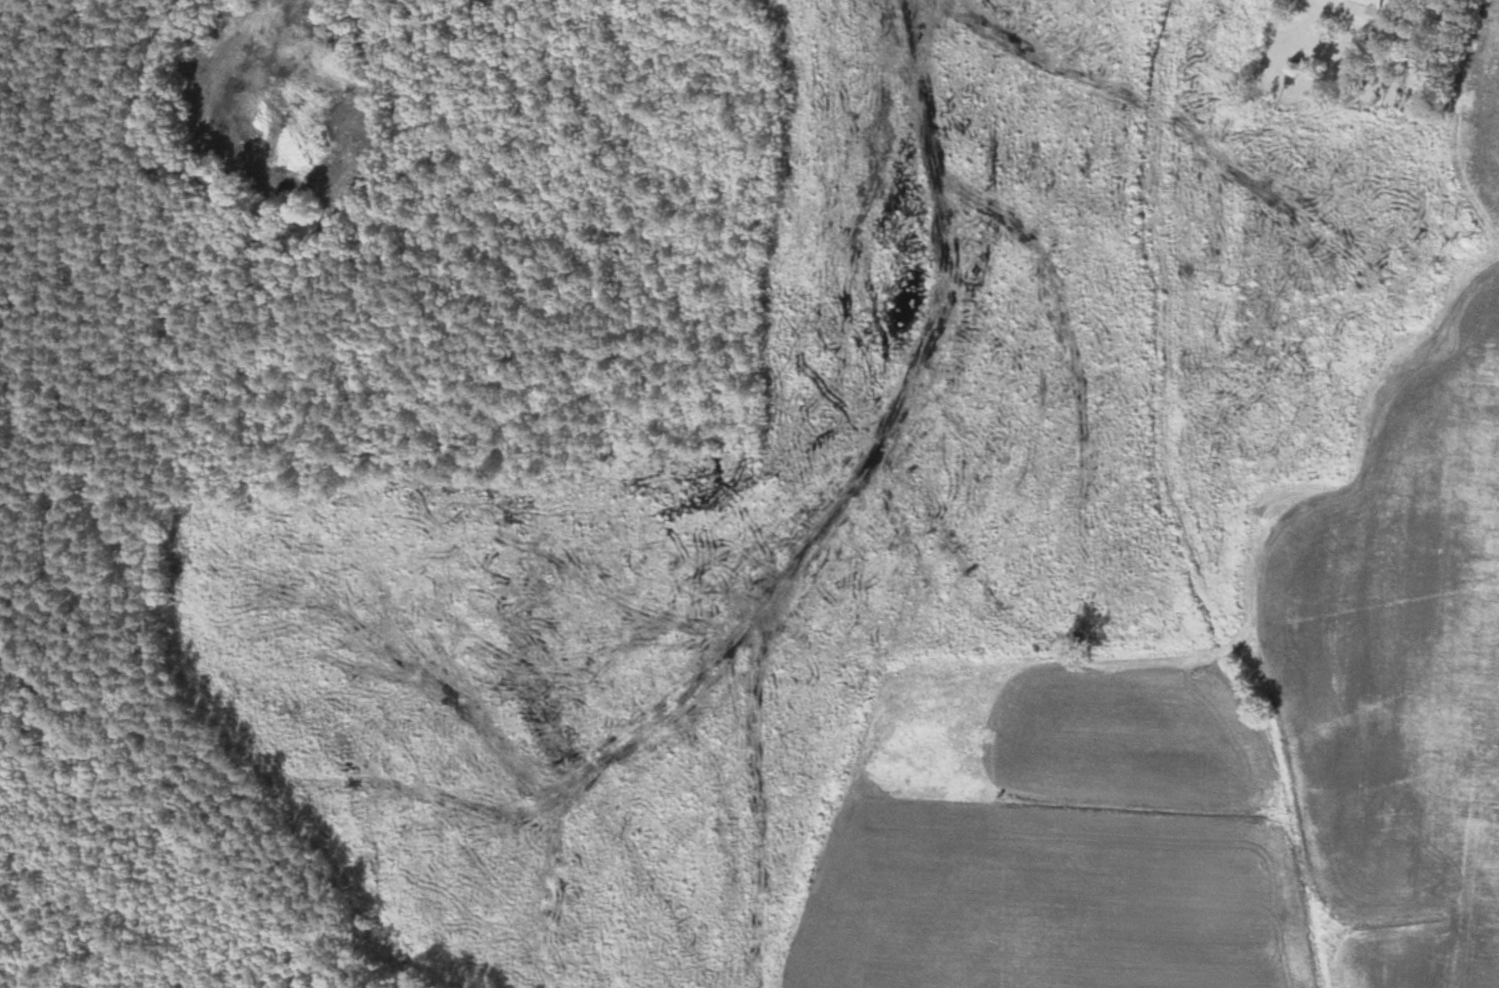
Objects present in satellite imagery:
building: (1372, 7)

